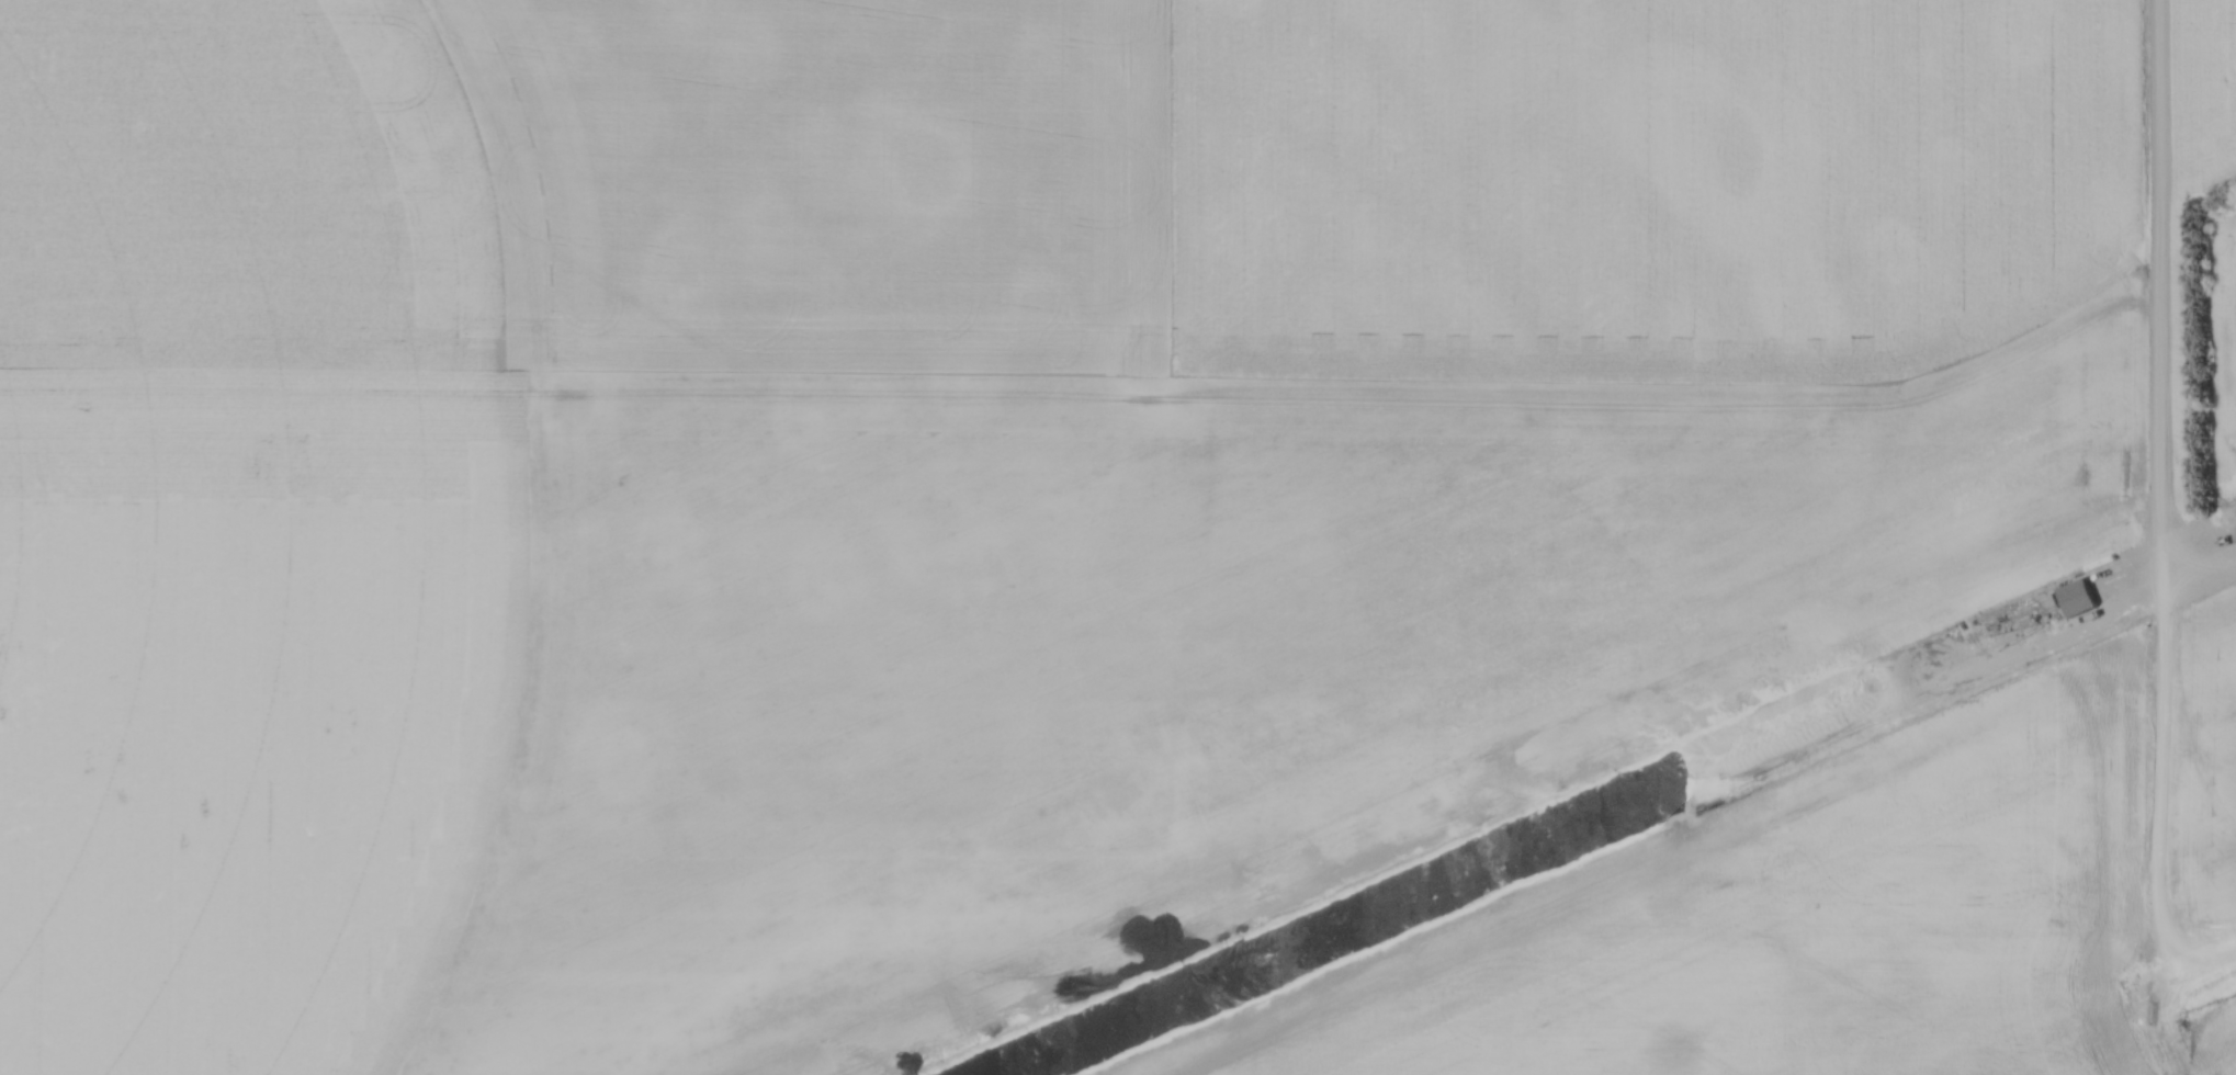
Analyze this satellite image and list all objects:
road: (2158, 273)
building: (1870, 704)
building: (1478, 872)

